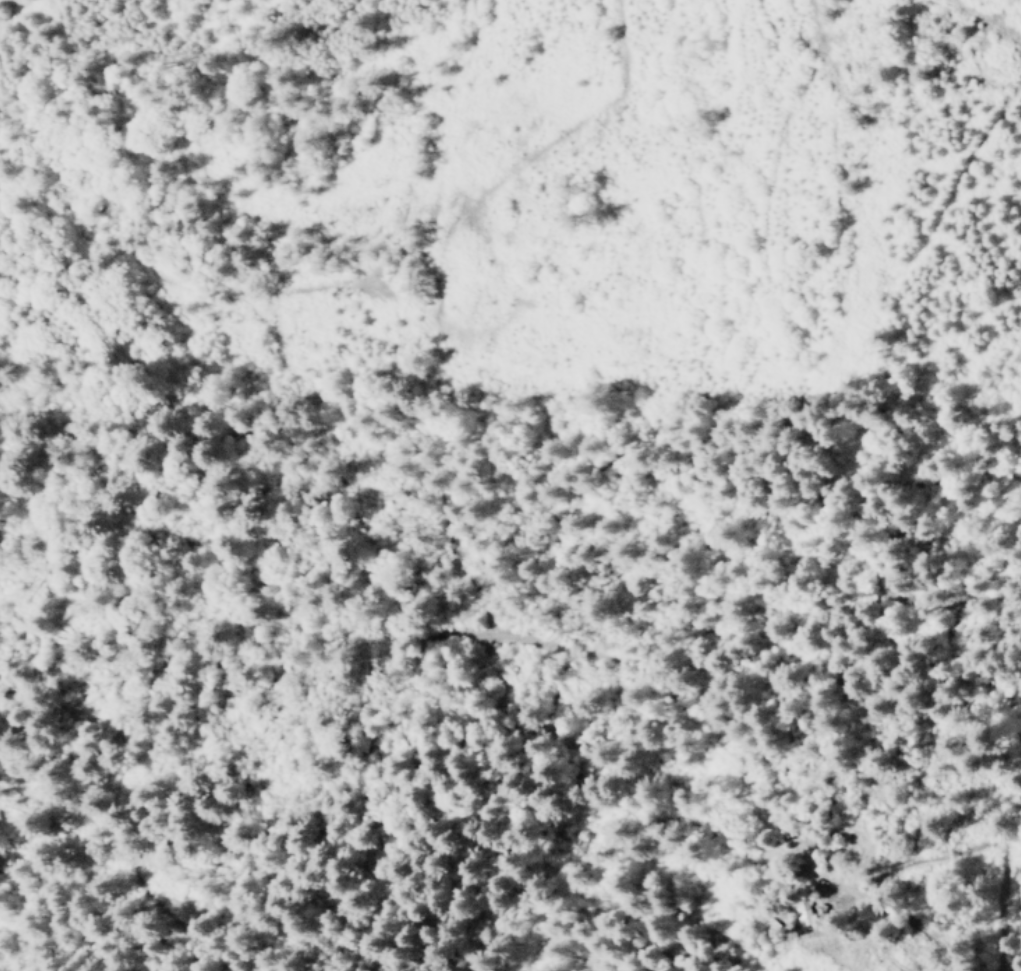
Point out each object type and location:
building: (801, 910)

